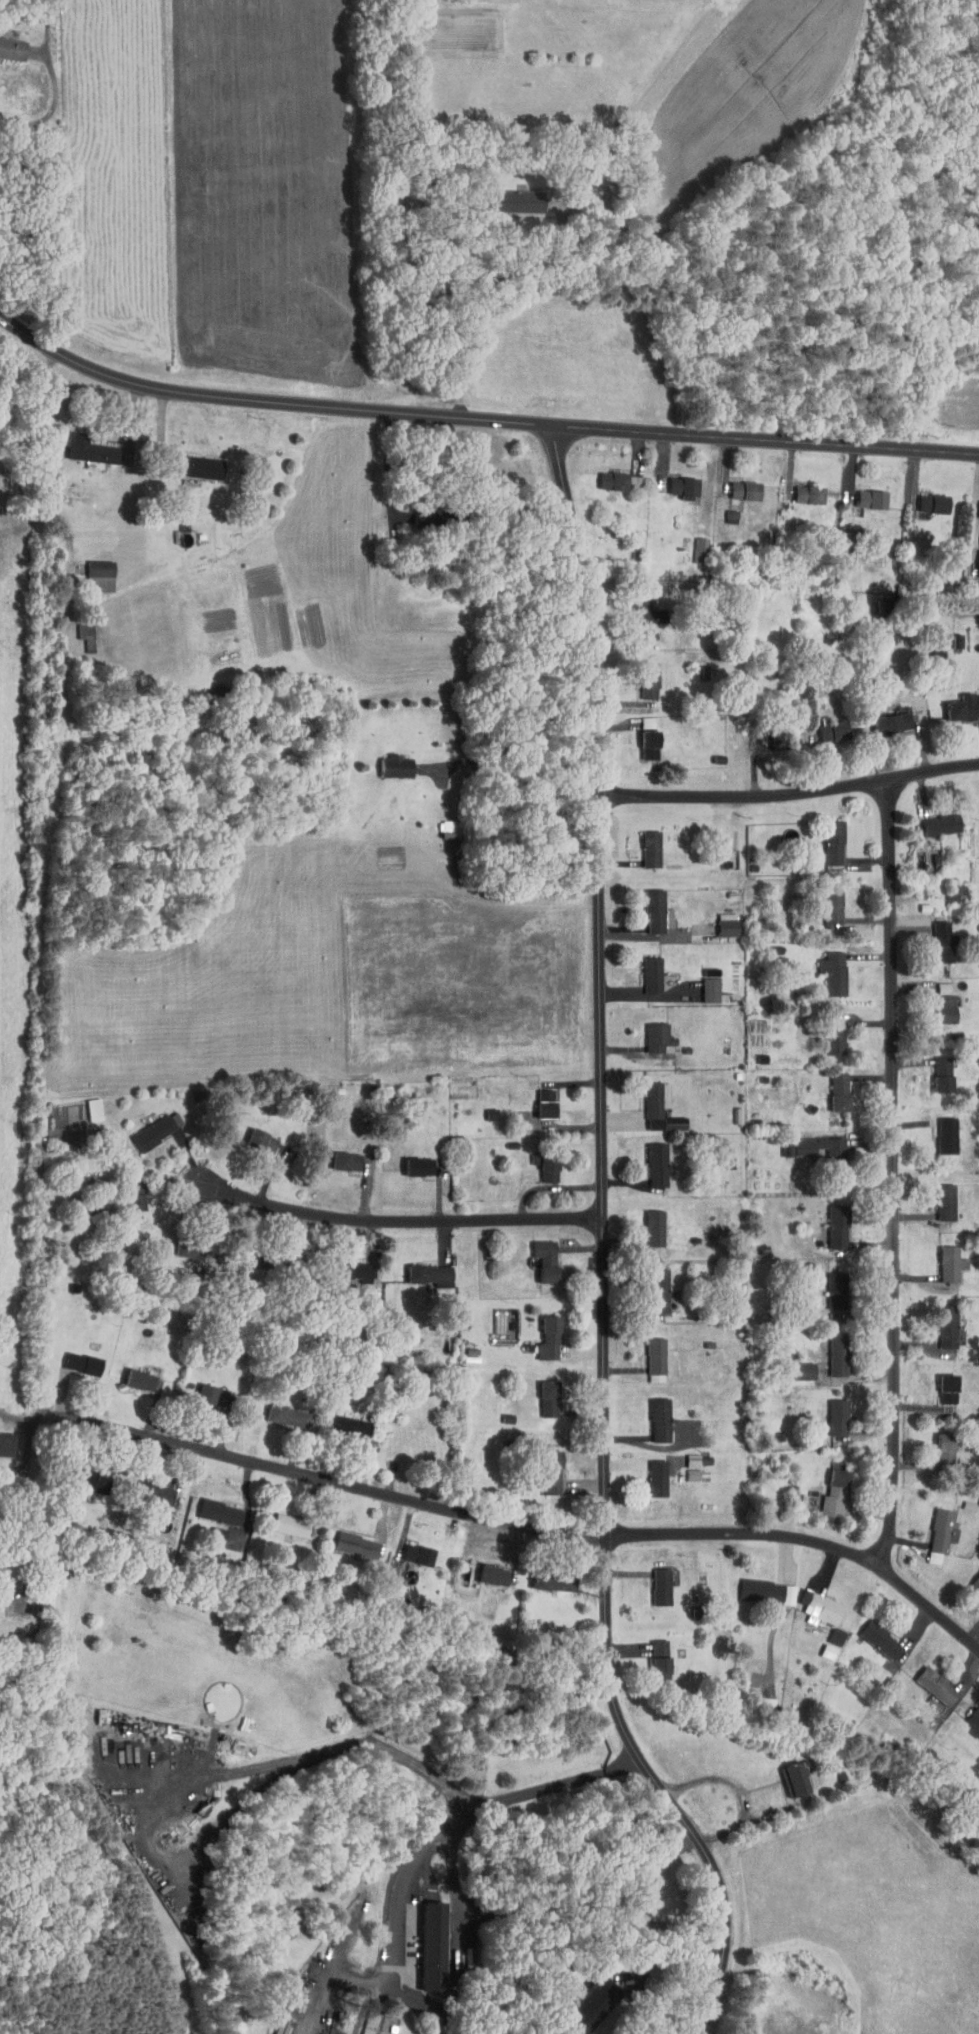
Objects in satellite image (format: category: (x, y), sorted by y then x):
building: (7, 44)
road: (53, 106)
building: (508, 196)
road: (28, 335)
road: (515, 422)
building: (82, 445)
building: (188, 462)
road: (390, 464)
building: (603, 474)
building: (674, 481)
building: (735, 484)
building: (799, 489)
building: (862, 493)
building: (924, 497)
building: (974, 503)
building: (722, 511)
building: (975, 533)
building: (691, 545)
building: (974, 558)
building: (90, 571)
building: (634, 613)
building: (75, 628)
building: (639, 679)
building: (959, 701)
building: (883, 717)
building: (823, 725)
building: (760, 732)
road: (516, 735)
building: (640, 739)
building: (386, 760)
road: (791, 794)
building: (932, 819)
building: (824, 837)
building: (642, 843)
building: (824, 901)
building: (648, 906)
building: (718, 919)
building: (932, 935)
building: (824, 966)
building: (643, 969)
building: (701, 984)
building: (935, 997)
building: (825, 1030)
building: (648, 1032)
building: (658, 1053)
building: (933, 1068)
building: (830, 1086)
building: (537, 1098)
building: (647, 1098)
building: (84, 1103)
building: (482, 1108)
building: (147, 1124)
building: (937, 1130)
building: (252, 1135)
building: (805, 1141)
building: (337, 1155)
building: (648, 1159)
building: (409, 1161)
building: (540, 1163)
road: (893, 1175)
building: (125, 1195)
building: (936, 1196)
building: (828, 1221)
road: (389, 1222)
building: (645, 1223)
building: (174, 1244)
road: (603, 1249)
building: (537, 1254)
building: (941, 1258)
building: (345, 1265)
building: (422, 1269)
building: (648, 1285)
building: (829, 1290)
building: (938, 1321)
building: (539, 1333)
road: (10, 1335)
building: (829, 1348)
building: (646, 1354)
building: (73, 1358)
building: (795, 1365)
building: (131, 1374)
building: (939, 1384)
building: (197, 1388)
building: (539, 1393)
building: (278, 1410)
building: (828, 1412)
building: (651, 1414)
road: (17, 1418)
building: (338, 1421)
road: (18, 1432)
building: (2, 1439)
building: (936, 1444)
building: (683, 1455)
building: (543, 1467)
road: (15, 1468)
building: (683, 1469)
building: (648, 1473)
building: (81, 1474)
building: (826, 1486)
building: (145, 1488)
building: (974, 1496)
building: (211, 1506)
road: (27, 1514)
building: (281, 1520)
road: (519, 1529)
building: (930, 1530)
building: (209, 1531)
building: (347, 1540)
building: (408, 1549)
building: (485, 1570)
building: (544, 1576)
building: (972, 1578)
building: (652, 1582)
building: (758, 1585)
building: (811, 1602)
building: (828, 1632)
building: (871, 1635)
building: (819, 1646)
building: (651, 1655)
building: (927, 1680)
building: (757, 1699)
building: (970, 1715)
building: (785, 1774)
road: (457, 1819)
building: (424, 1941)
road: (370, 1983)
building: (580, 2002)
building: (360, 2018)
building: (319, 2032)

